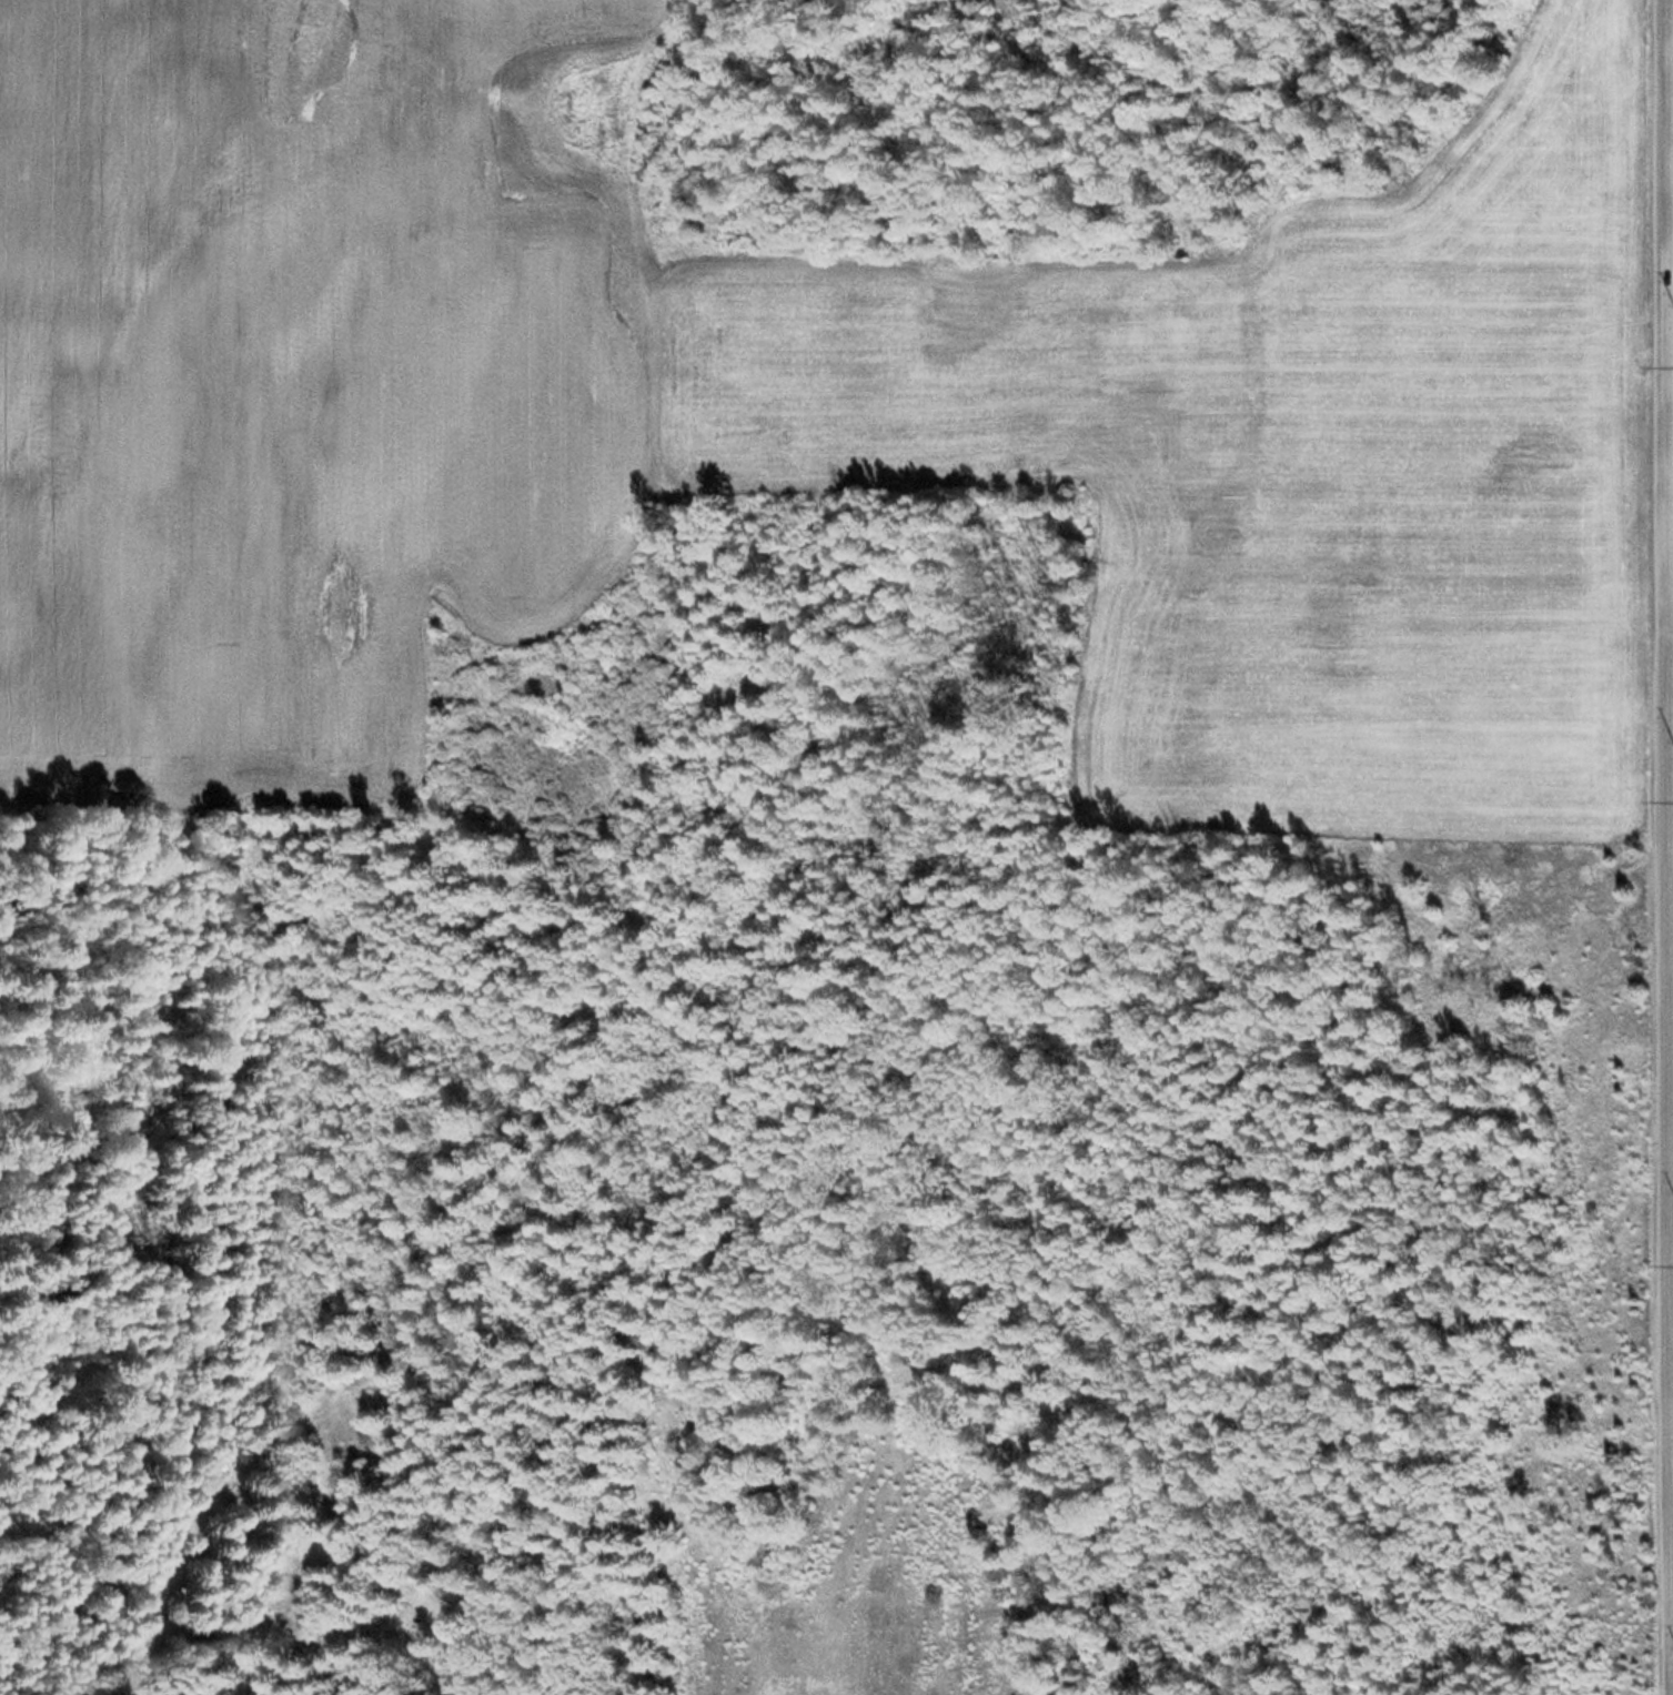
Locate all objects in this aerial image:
road: (1660, 847)
road: (1666, 1554)

